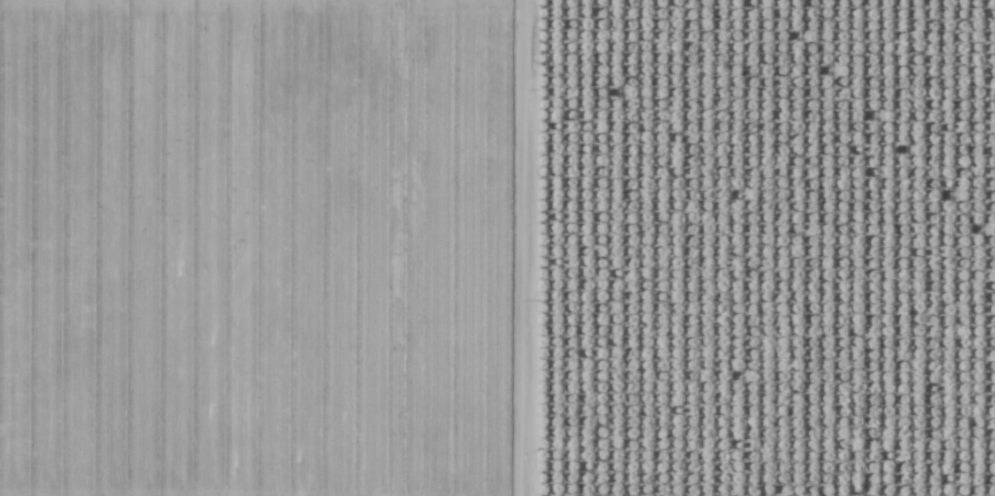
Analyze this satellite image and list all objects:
crop: (272, 247)
road: (509, 248)

